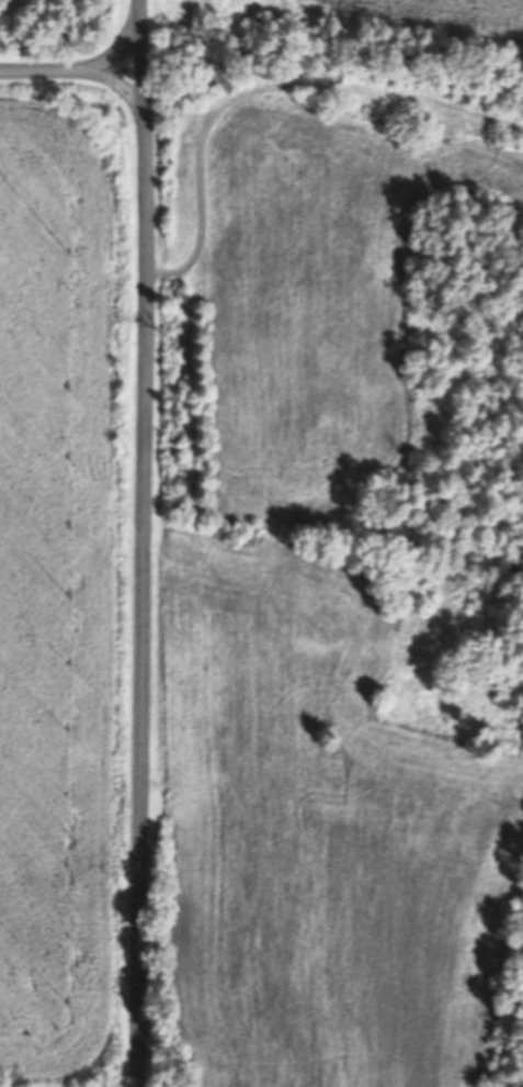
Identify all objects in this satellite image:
road: (117, 51)
road: (77, 70)
road: (261, 81)
road: (140, 543)

